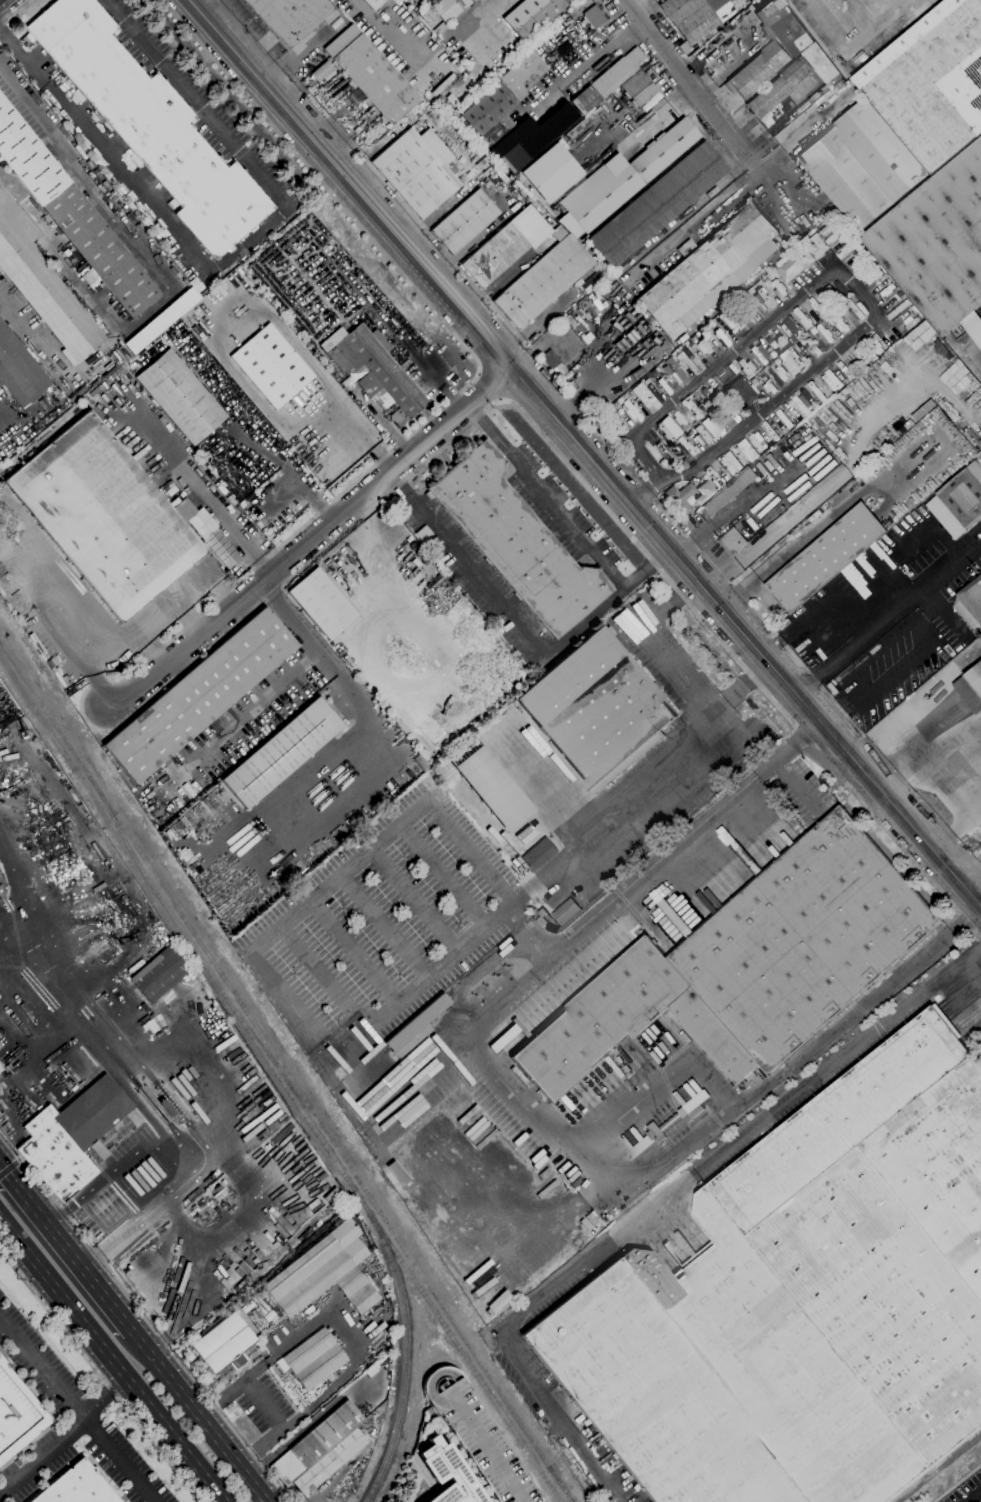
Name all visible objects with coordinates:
building: (372, 3)
building: (449, 9)
road: (14, 12)
building: (532, 16)
building: (592, 16)
building: (695, 16)
building: (291, 19)
road: (469, 26)
road: (377, 29)
road: (857, 36)
building: (771, 47)
building: (683, 48)
building: (370, 75)
building: (606, 81)
road: (691, 82)
building: (932, 82)
building: (795, 85)
building: (637, 88)
building: (501, 99)
building: (451, 100)
building: (442, 106)
road: (663, 114)
building: (149, 124)
building: (529, 138)
building: (862, 164)
building: (416, 171)
building: (548, 172)
building: (623, 178)
road: (769, 181)
road: (104, 205)
building: (656, 206)
road: (436, 213)
building: (73, 215)
building: (463, 222)
building: (529, 226)
building: (938, 242)
building: (168, 244)
road: (825, 252)
road: (232, 254)
road: (440, 254)
building: (493, 256)
building: (794, 264)
building: (708, 271)
road: (846, 276)
building: (216, 279)
building: (542, 282)
road: (619, 290)
building: (45, 294)
building: (899, 295)
building: (762, 299)
building: (898, 308)
building: (854, 310)
building: (161, 318)
road: (889, 326)
road: (115, 327)
building: (973, 327)
building: (787, 328)
building: (825, 333)
building: (770, 343)
building: (813, 346)
building: (702, 347)
road: (494, 350)
building: (759, 355)
building: (772, 355)
building: (790, 360)
building: (550, 361)
building: (687, 361)
building: (121, 367)
building: (271, 367)
building: (845, 369)
building: (20, 371)
building: (375, 372)
building: (674, 372)
building: (832, 380)
building: (343, 384)
building: (742, 391)
building: (707, 396)
building: (179, 397)
building: (644, 398)
building: (695, 409)
building: (924, 410)
building: (729, 417)
building: (785, 419)
building: (693, 423)
building: (909, 424)
building: (712, 426)
road: (357, 427)
building: (771, 431)
building: (702, 436)
building: (972, 438)
building: (684, 447)
building: (662, 450)
road: (581, 458)
building: (729, 463)
road: (198, 488)
building: (729, 491)
road: (640, 492)
building: (703, 493)
building: (964, 495)
building: (680, 498)
road: (564, 515)
building: (103, 516)
road: (816, 524)
road: (704, 528)
building: (206, 532)
building: (732, 541)
road: (307, 542)
building: (515, 542)
building: (825, 557)
road: (706, 559)
road: (870, 574)
building: (320, 603)
building: (970, 603)
road: (498, 605)
road: (897, 607)
road: (68, 611)
road: (185, 615)
road: (144, 616)
building: (497, 623)
road: (652, 645)
road: (146, 647)
road: (769, 647)
road: (314, 650)
road: (177, 675)
road: (743, 685)
building: (971, 687)
road: (806, 688)
building: (199, 696)
building: (596, 710)
road: (705, 718)
road: (736, 723)
building: (399, 725)
building: (430, 738)
road: (787, 750)
building: (280, 753)
building: (420, 763)
road: (796, 786)
building: (492, 789)
railway: (118, 830)
road: (953, 830)
road: (594, 833)
road: (372, 844)
building: (538, 854)
road: (966, 869)
road: (442, 874)
road: (413, 899)
building: (566, 911)
building: (542, 917)
road: (384, 924)
railway: (182, 935)
road: (980, 943)
road: (972, 950)
building: (750, 964)
road: (439, 966)
road: (973, 966)
road: (314, 968)
building: (158, 974)
building: (415, 1028)
building: (0, 1047)
building: (0, 1068)
railway: (284, 1073)
building: (693, 1106)
building: (574, 1117)
road: (552, 1134)
building: (70, 1136)
road: (10, 1167)
road: (166, 1200)
building: (596, 1206)
road: (654, 1209)
road: (65, 1249)
building: (323, 1273)
building: (804, 1301)
road: (145, 1317)
road: (342, 1336)
building: (223, 1344)
railway: (405, 1355)
railway: (461, 1355)
building: (313, 1359)
road: (112, 1360)
road: (254, 1372)
building: (278, 1372)
road: (99, 1376)
road: (104, 1396)
road: (261, 1403)
parking lot: (264, 1404)
road: (77, 1408)
building: (16, 1415)
road: (197, 1417)
road: (290, 1421)
road: (306, 1424)
building: (478, 1438)
parking lot: (478, 1438)
building: (320, 1450)
road: (42, 1455)
railway: (938, 1468)
building: (446, 1474)
building: (75, 1487)
railway: (562, 1487)
road: (975, 1497)

